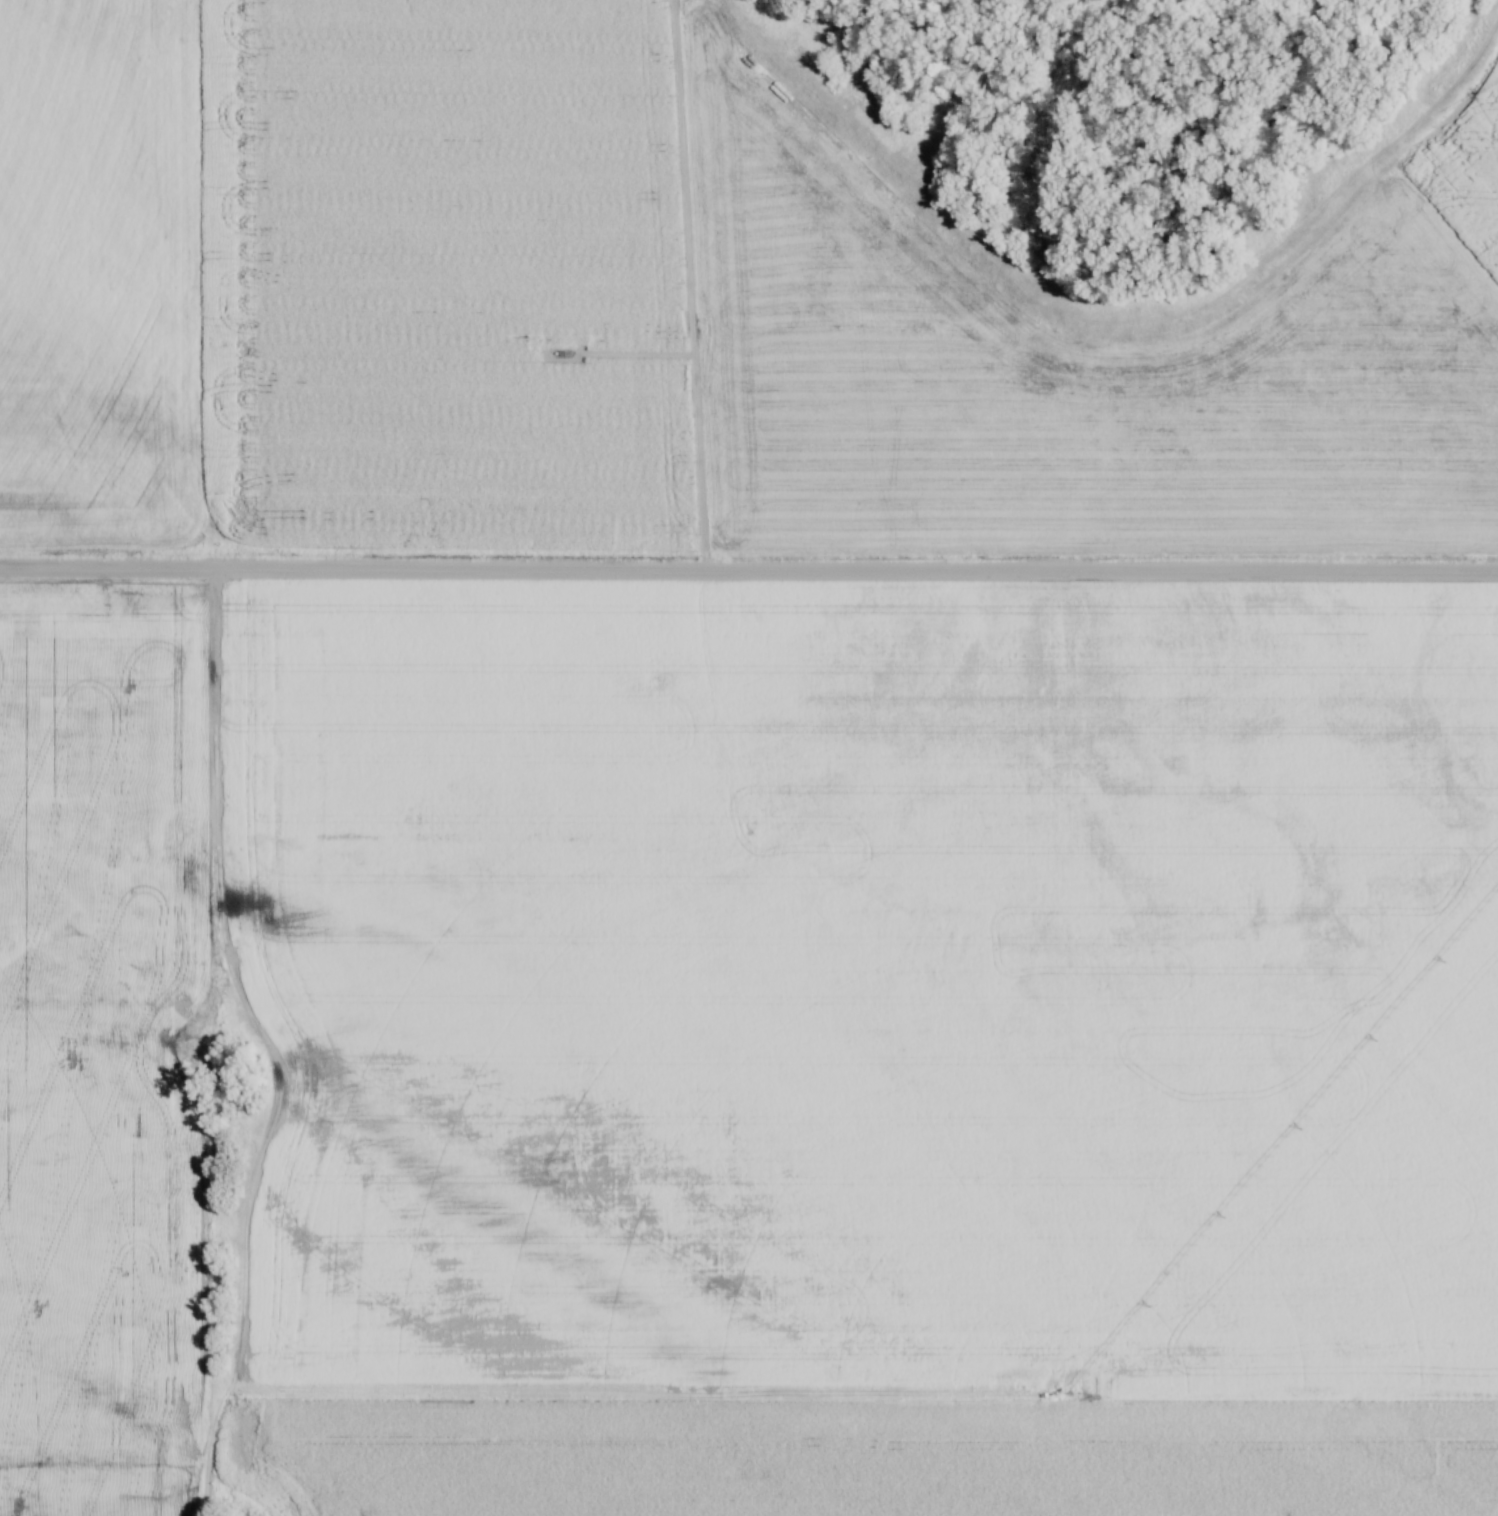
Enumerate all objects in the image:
road: (749, 569)

